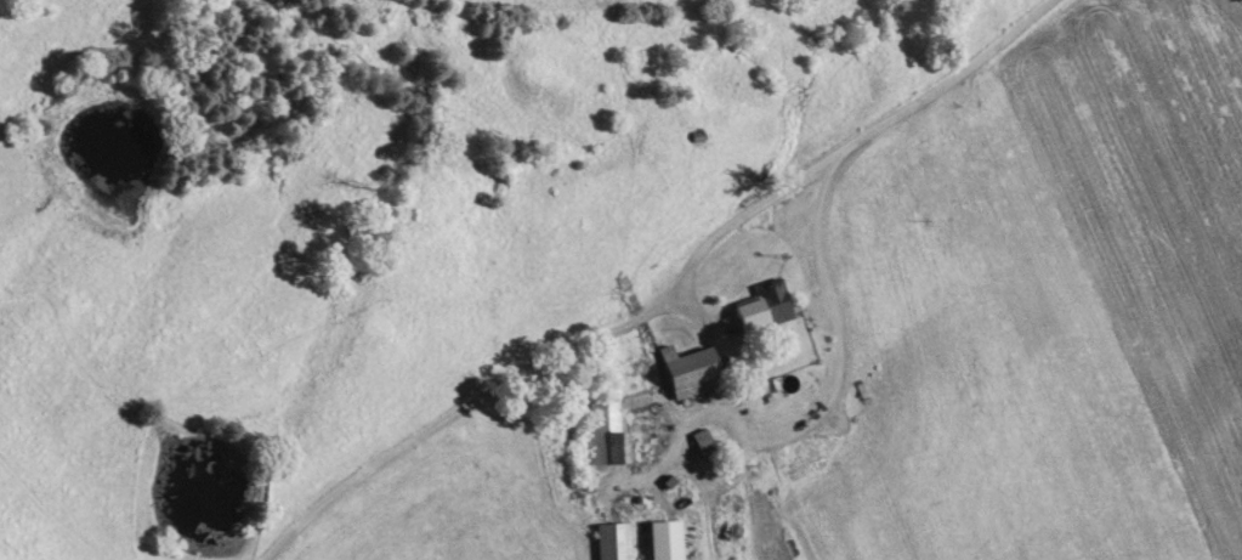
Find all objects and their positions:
road: (671, 296)
building: (776, 304)
building: (692, 373)
road: (823, 409)
building: (608, 437)
building: (614, 542)
building: (669, 542)

